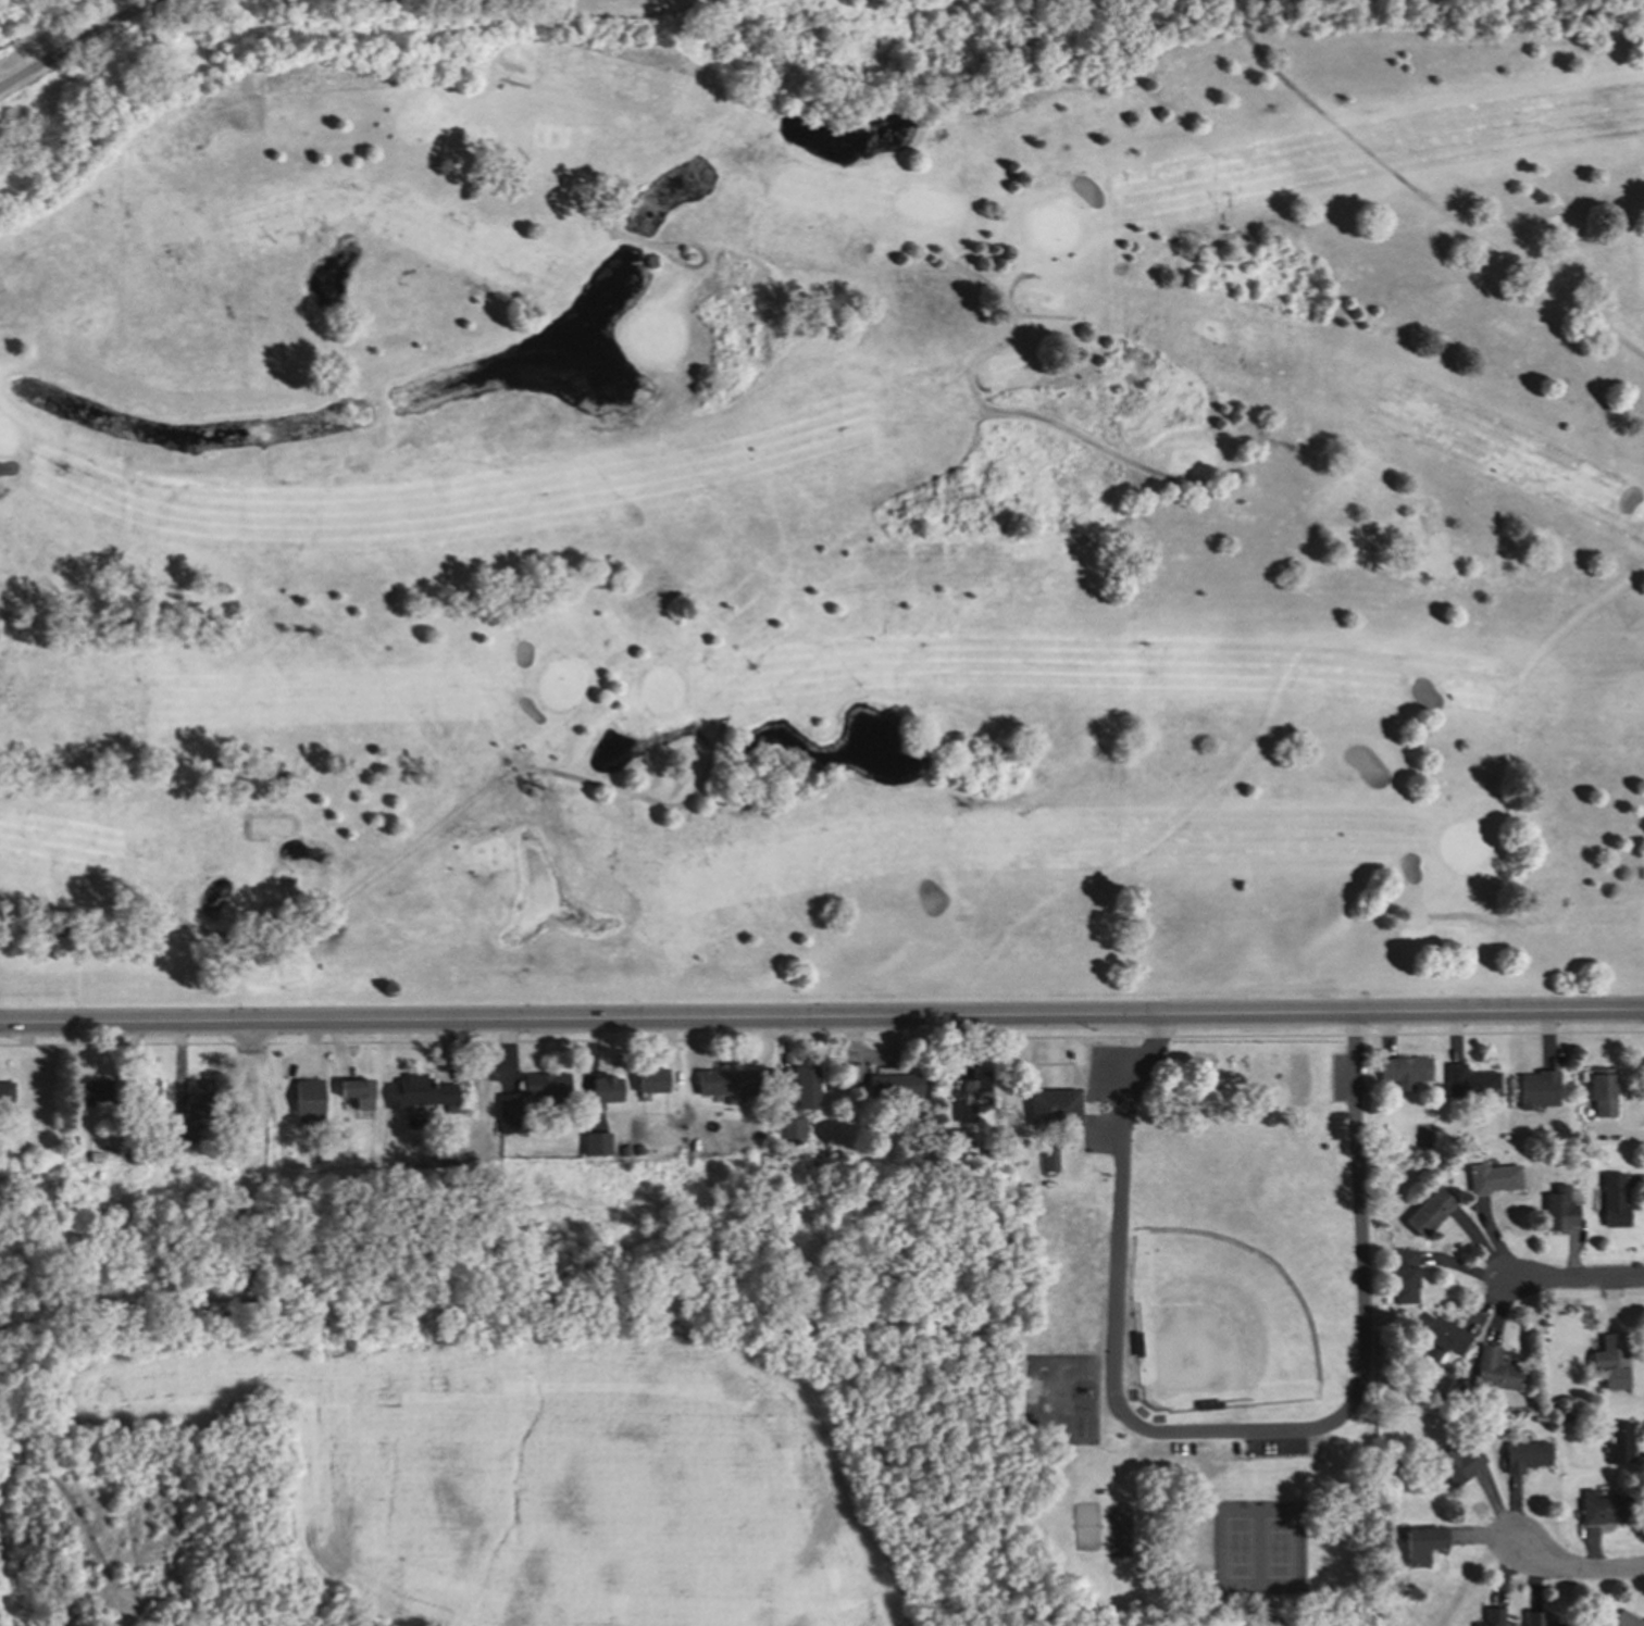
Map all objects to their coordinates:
road: (75, 42)
building: (647, 259)
park: (843, 518)
road: (1508, 1015)
road: (686, 1022)
road: (1354, 1030)
road: (1151, 1038)
building: (1402, 1071)
building: (851, 1073)
building: (650, 1079)
building: (725, 1081)
building: (1468, 1081)
building: (545, 1084)
building: (893, 1085)
building: (805, 1086)
building: (606, 1087)
building: (1535, 1088)
building: (356, 1090)
building: (1599, 1090)
building: (5, 1091)
building: (418, 1091)
building: (92, 1092)
building: (971, 1095)
building: (144, 1097)
building: (197, 1098)
building: (307, 1098)
building: (1330, 1099)
building: (508, 1103)
building: (1051, 1106)
building: (449, 1108)
building: (790, 1126)
building: (179, 1135)
building: (955, 1140)
building: (596, 1142)
building: (138, 1146)
building: (984, 1147)
building: (623, 1149)
building: (637, 1149)
building: (918, 1150)
building: (782, 1151)
building: (834, 1152)
building: (95, 1155)
building: (129, 1156)
building: (1046, 1158)
building: (1491, 1177)
building: (1611, 1201)
building: (1428, 1210)
building: (1557, 1210)
building: (1402, 1277)
road: (1578, 1284)
park: (1198, 1317)
building: (1441, 1339)
road: (1365, 1349)
building: (1609, 1361)
building: (1493, 1369)
building: (1377, 1399)
building: (1435, 1399)
building: (1386, 1441)
building: (1617, 1443)
building: (1524, 1455)
building: (1457, 1463)
building: (1392, 1467)
crop: (538, 1474)
building: (1603, 1508)
building: (1420, 1544)
road: (1577, 1572)
crop: (1206, 1617)
building: (1491, 1617)
building: (1534, 1618)
building: (1622, 1618)

